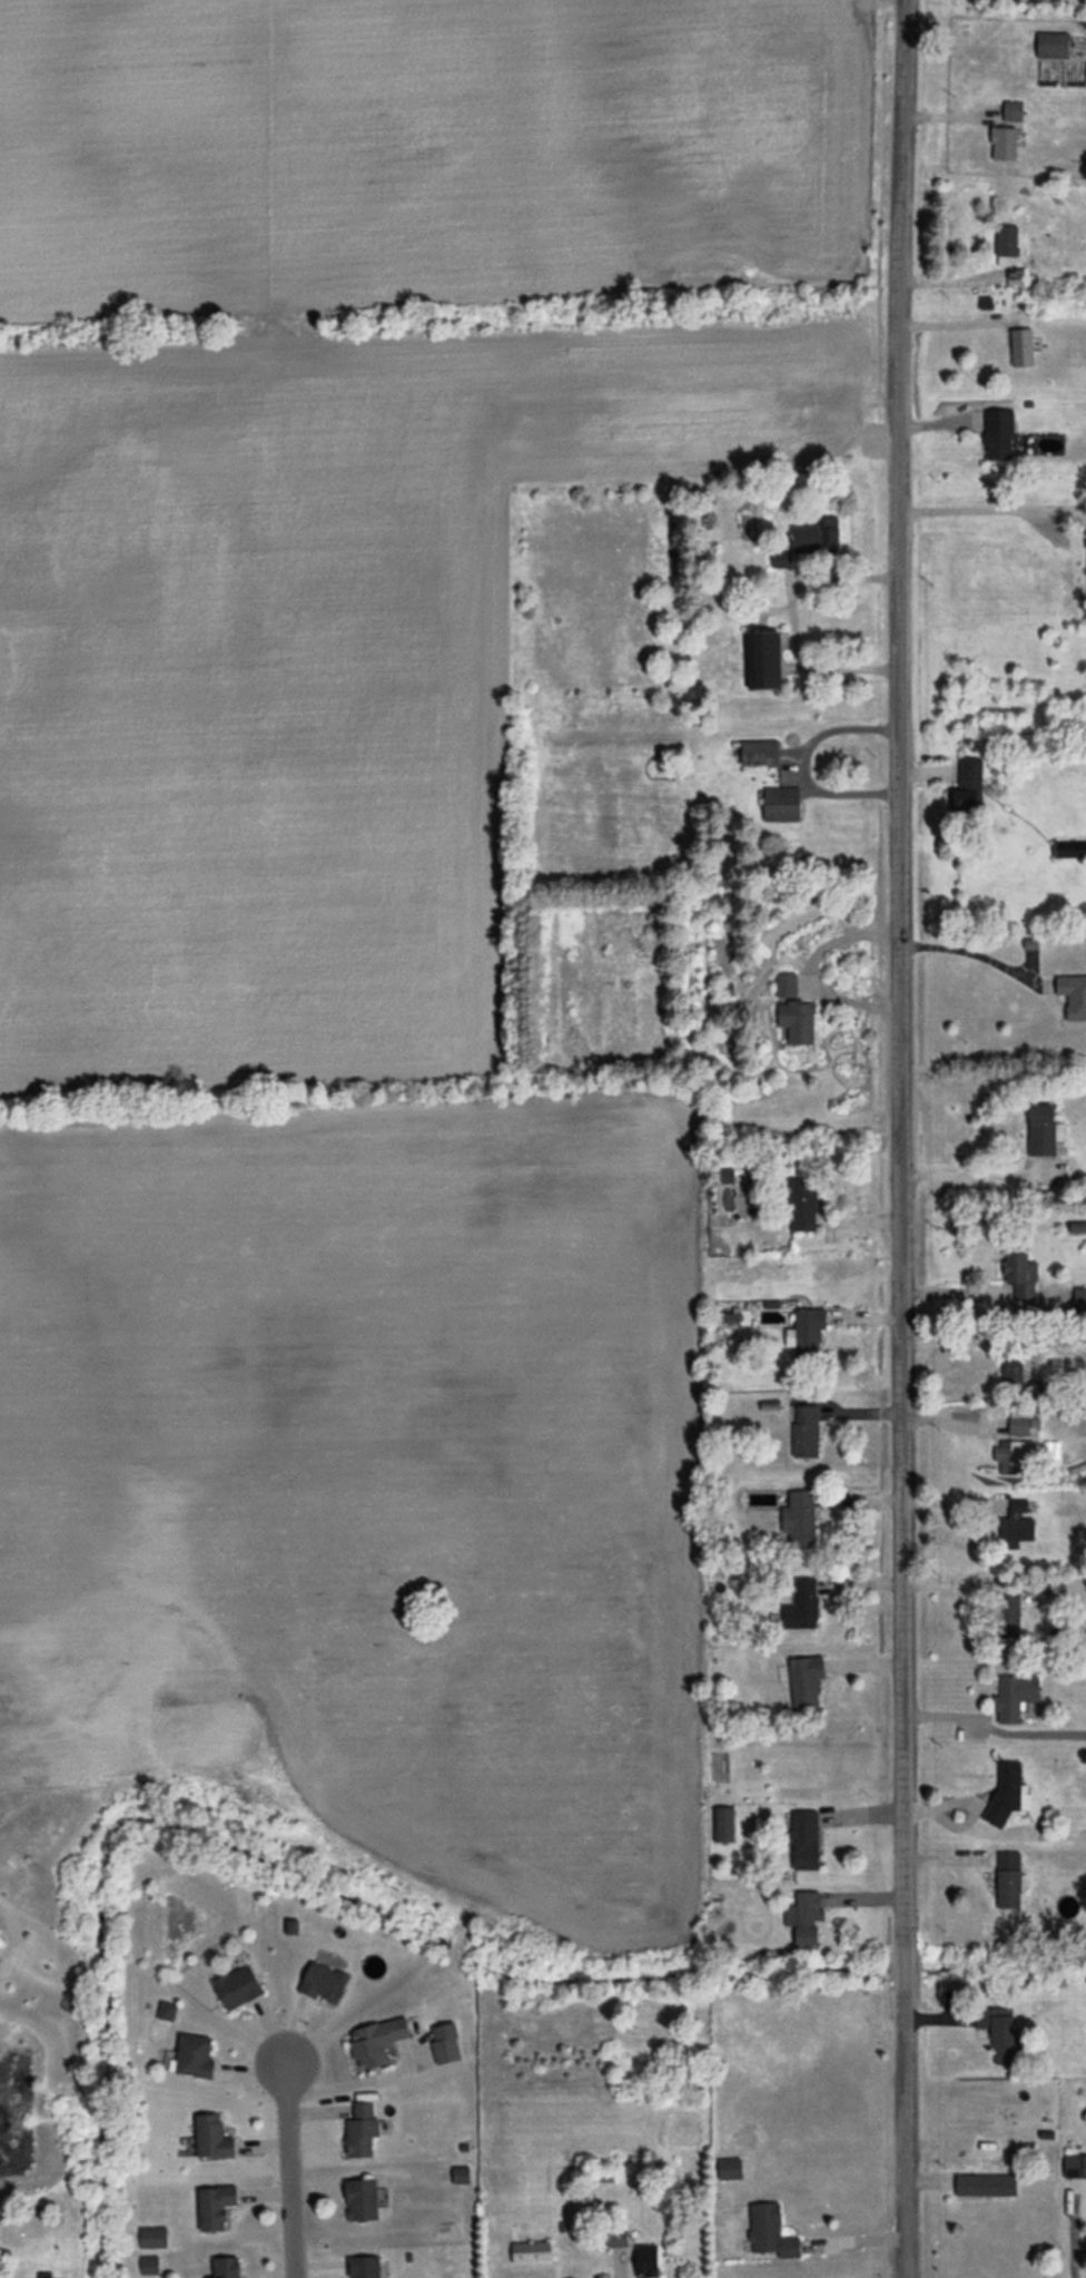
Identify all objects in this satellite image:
building: (1053, 45)
building: (1006, 239)
road: (955, 322)
building: (1021, 346)
building: (998, 434)
road: (993, 510)
building: (816, 536)
building: (780, 558)
road: (791, 621)
building: (763, 659)
building: (760, 752)
road: (800, 764)
building: (966, 789)
building: (781, 803)
road: (973, 953)
road: (811, 968)
building: (786, 984)
building: (797, 1021)
building: (1041, 1129)
road: (900, 1138)
road: (978, 1174)
building: (802, 1204)
building: (1020, 1275)
road: (970, 1290)
building: (1079, 1299)
building: (808, 1333)
building: (1018, 1425)
building: (804, 1431)
building: (1013, 1454)
building: (799, 1519)
building: (1015, 1529)
building: (802, 1604)
building: (1009, 1613)
building: (806, 1681)
building: (1014, 1696)
road: (993, 1727)
building: (722, 1824)
building: (806, 1839)
building: (1008, 1887)
building: (804, 1916)
building: (323, 1982)
building: (238, 1986)
building: (167, 2010)
building: (997, 2031)
building: (376, 2041)
building: (445, 2042)
building: (194, 2055)
road: (362, 2080)
building: (361, 2130)
building: (213, 2135)
road: (286, 2163)
building: (1075, 2167)
building: (461, 2173)
building: (986, 2183)
building: (362, 2199)
building: (215, 2206)
building: (770, 2230)
road: (1072, 2235)
building: (152, 2237)
building: (618, 2237)
building: (531, 2251)
building: (646, 2260)
building: (149, 2264)
building: (226, 2267)
building: (364, 2267)

